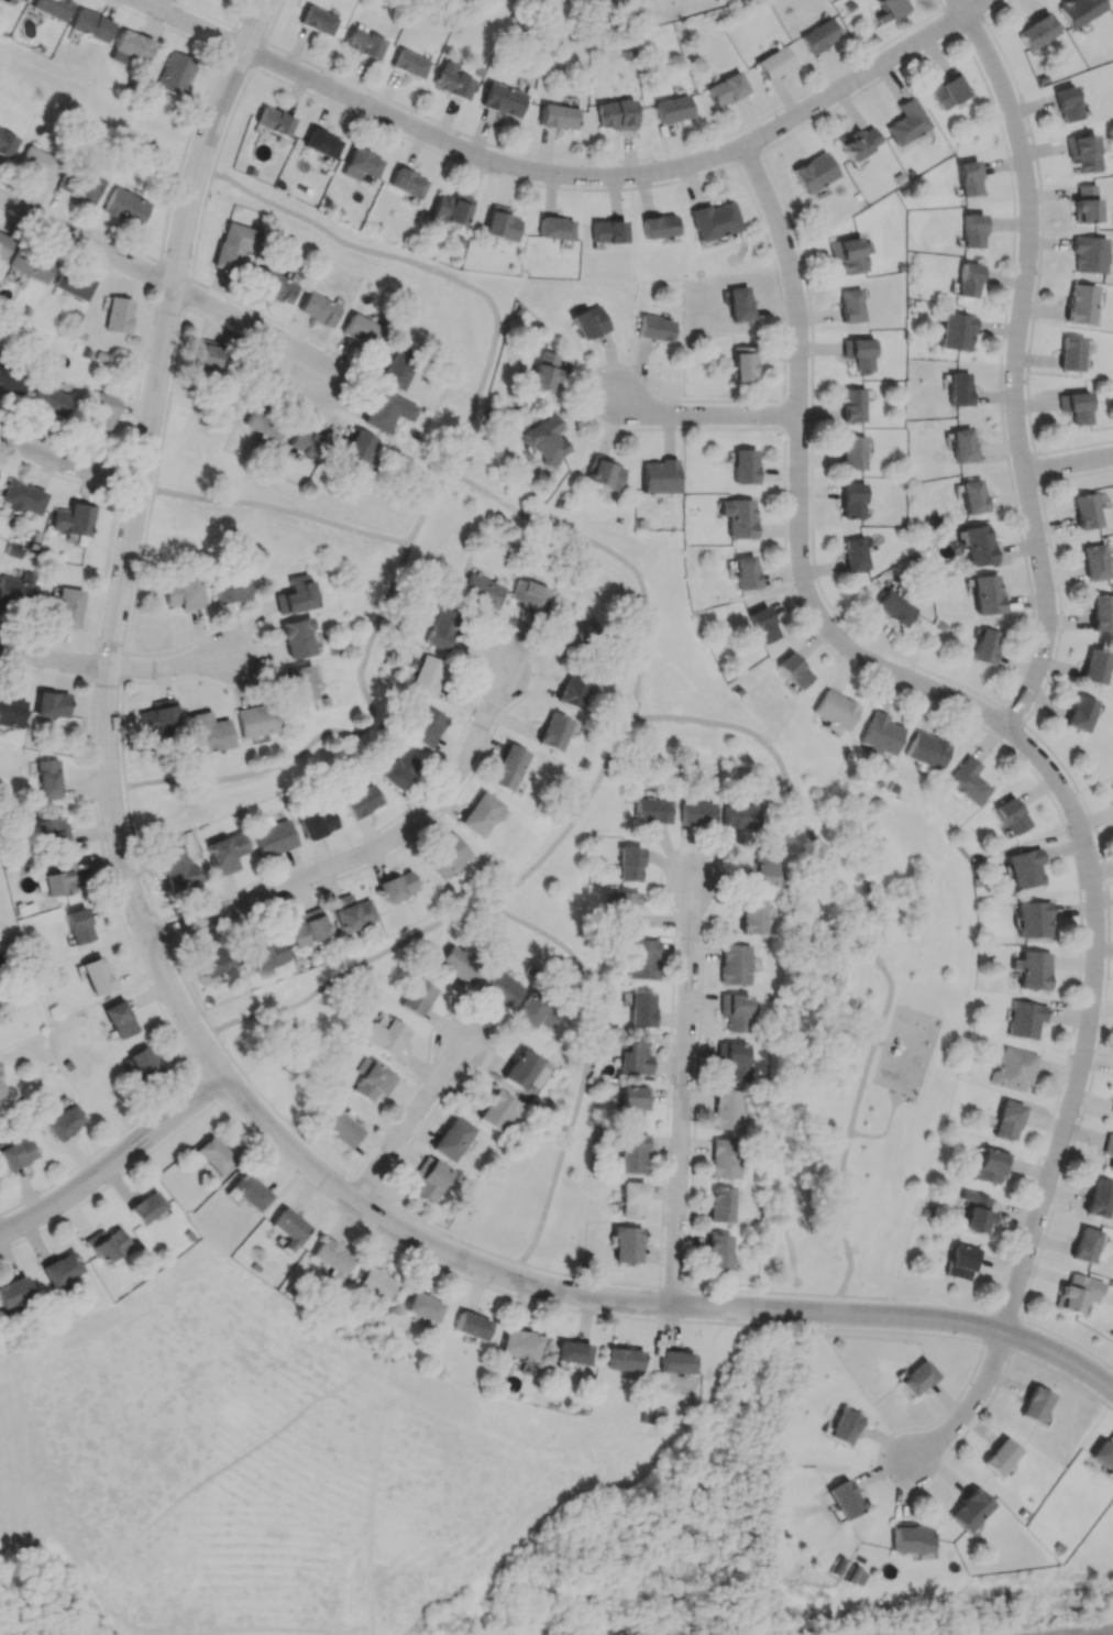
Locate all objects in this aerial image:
building: (19, 0)
building: (1111, 0)
building: (52, 8)
building: (890, 9)
building: (1078, 10)
building: (318, 20)
building: (91, 25)
road: (195, 28)
building: (1035, 32)
building: (819, 35)
building: (364, 43)
building: (130, 47)
building: (773, 63)
building: (410, 64)
building: (176, 74)
building: (452, 81)
building: (726, 89)
building: (946, 90)
building: (503, 99)
building: (1066, 103)
building: (672, 109)
building: (615, 114)
building: (558, 117)
building: (273, 121)
building: (905, 122)
building: (858, 142)
building: (320, 143)
building: (5, 144)
building: (1082, 153)
building: (36, 162)
building: (360, 164)
building: (813, 173)
road: (629, 177)
building: (967, 178)
building: (407, 183)
building: (78, 185)
building: (1083, 204)
building: (125, 206)
building: (451, 209)
building: (714, 220)
building: (499, 223)
building: (657, 226)
building: (553, 228)
building: (971, 230)
building: (606, 231)
road: (184, 237)
building: (3, 244)
building: (232, 245)
building: (849, 253)
building: (1088, 254)
building: (31, 264)
building: (967, 279)
building: (71, 284)
road: (168, 286)
building: (277, 287)
building: (738, 304)
building: (1080, 304)
building: (850, 305)
building: (319, 309)
building: (118, 315)
building: (588, 322)
building: (654, 328)
building: (361, 329)
building: (956, 331)
building: (858, 352)
building: (1070, 353)
building: (210, 358)
road: (1016, 362)
building: (741, 364)
building: (397, 367)
building: (542, 375)
building: (11, 378)
building: (958, 388)
building: (49, 399)
building: (852, 405)
building: (1075, 406)
building: (387, 410)
building: (102, 412)
road: (708, 416)
building: (263, 424)
building: (544, 440)
building: (304, 443)
building: (961, 445)
building: (357, 448)
building: (852, 452)
road: (69, 464)
building: (743, 465)
road: (1069, 465)
building: (603, 472)
building: (658, 475)
road: (802, 489)
road: (442, 490)
building: (971, 496)
building: (21, 497)
building: (852, 501)
road: (280, 508)
building: (1086, 511)
building: (737, 517)
building: (71, 519)
building: (976, 545)
building: (855, 553)
building: (1094, 561)
building: (745, 571)
building: (231, 589)
building: (16, 591)
building: (481, 591)
building: (183, 592)
building: (984, 594)
building: (296, 595)
building: (529, 599)
building: (67, 607)
building: (894, 607)
building: (1101, 613)
building: (761, 624)
building: (440, 628)
building: (574, 632)
building: (297, 637)
building: (984, 646)
building: (1095, 666)
building: (793, 670)
road: (120, 672)
building: (426, 674)
building: (302, 682)
building: (574, 689)
building: (51, 704)
building: (834, 709)
building: (11, 711)
building: (1080, 713)
building: (158, 715)
building: (425, 726)
park: (686, 729)
building: (208, 732)
building: (553, 732)
building: (879, 734)
building: (926, 750)
building: (507, 768)
building: (399, 770)
building: (47, 779)
building: (967, 781)
building: (1112, 787)
road: (110, 795)
road: (591, 797)
building: (360, 800)
building: (650, 810)
building: (695, 813)
building: (481, 814)
building: (740, 815)
building: (1011, 815)
building: (317, 823)
building: (49, 832)
building: (273, 836)
building: (225, 852)
road: (366, 856)
building: (447, 856)
building: (628, 864)
building: (174, 866)
building: (1024, 868)
building: (762, 869)
building: (57, 878)
building: (396, 886)
building: (621, 907)
building: (350, 912)
building: (753, 915)
building: (1033, 919)
building: (78, 925)
building: (307, 926)
road: (879, 951)
building: (265, 955)
building: (642, 958)
building: (217, 962)
building: (459, 963)
building: (735, 964)
building: (1034, 969)
building: (95, 975)
building: (498, 986)
building: (416, 997)
building: (640, 1009)
building: (535, 1010)
building: (736, 1011)
building: (119, 1019)
building: (1024, 1019)
road: (1093, 1021)
building: (383, 1036)
building: (629, 1055)
building: (142, 1062)
building: (731, 1062)
road: (586, 1068)
building: (1011, 1068)
building: (524, 1071)
building: (372, 1079)
building: (1, 1091)
road: (687, 1095)
building: (632, 1104)
building: (727, 1109)
building: (496, 1110)
building: (1112, 1112)
building: (1007, 1120)
building: (64, 1121)
building: (340, 1128)
road: (408, 1128)
road: (884, 1128)
building: (451, 1138)
building: (1109, 1151)
building: (630, 1152)
building: (16, 1153)
building: (213, 1155)
building: (724, 1157)
road: (117, 1163)
building: (991, 1165)
building: (429, 1178)
building: (246, 1192)
building: (1099, 1198)
building: (631, 1199)
building: (719, 1204)
building: (145, 1207)
road: (341, 1209)
building: (976, 1211)
building: (288, 1228)
road: (445, 1233)
building: (107, 1244)
building: (626, 1244)
building: (1084, 1244)
building: (717, 1251)
building: (331, 1259)
building: (961, 1261)
building: (59, 1269)
building: (375, 1284)
building: (13, 1292)
building: (1077, 1292)
road: (642, 1305)
building: (421, 1306)
building: (470, 1326)
building: (519, 1345)
building: (571, 1352)
building: (624, 1359)
building: (675, 1361)
building: (916, 1378)
road: (974, 1402)
building: (1034, 1404)
building: (842, 1426)
building: (1102, 1455)
building: (999, 1457)
building: (844, 1499)
building: (969, 1510)
building: (910, 1538)
building: (855, 1576)

